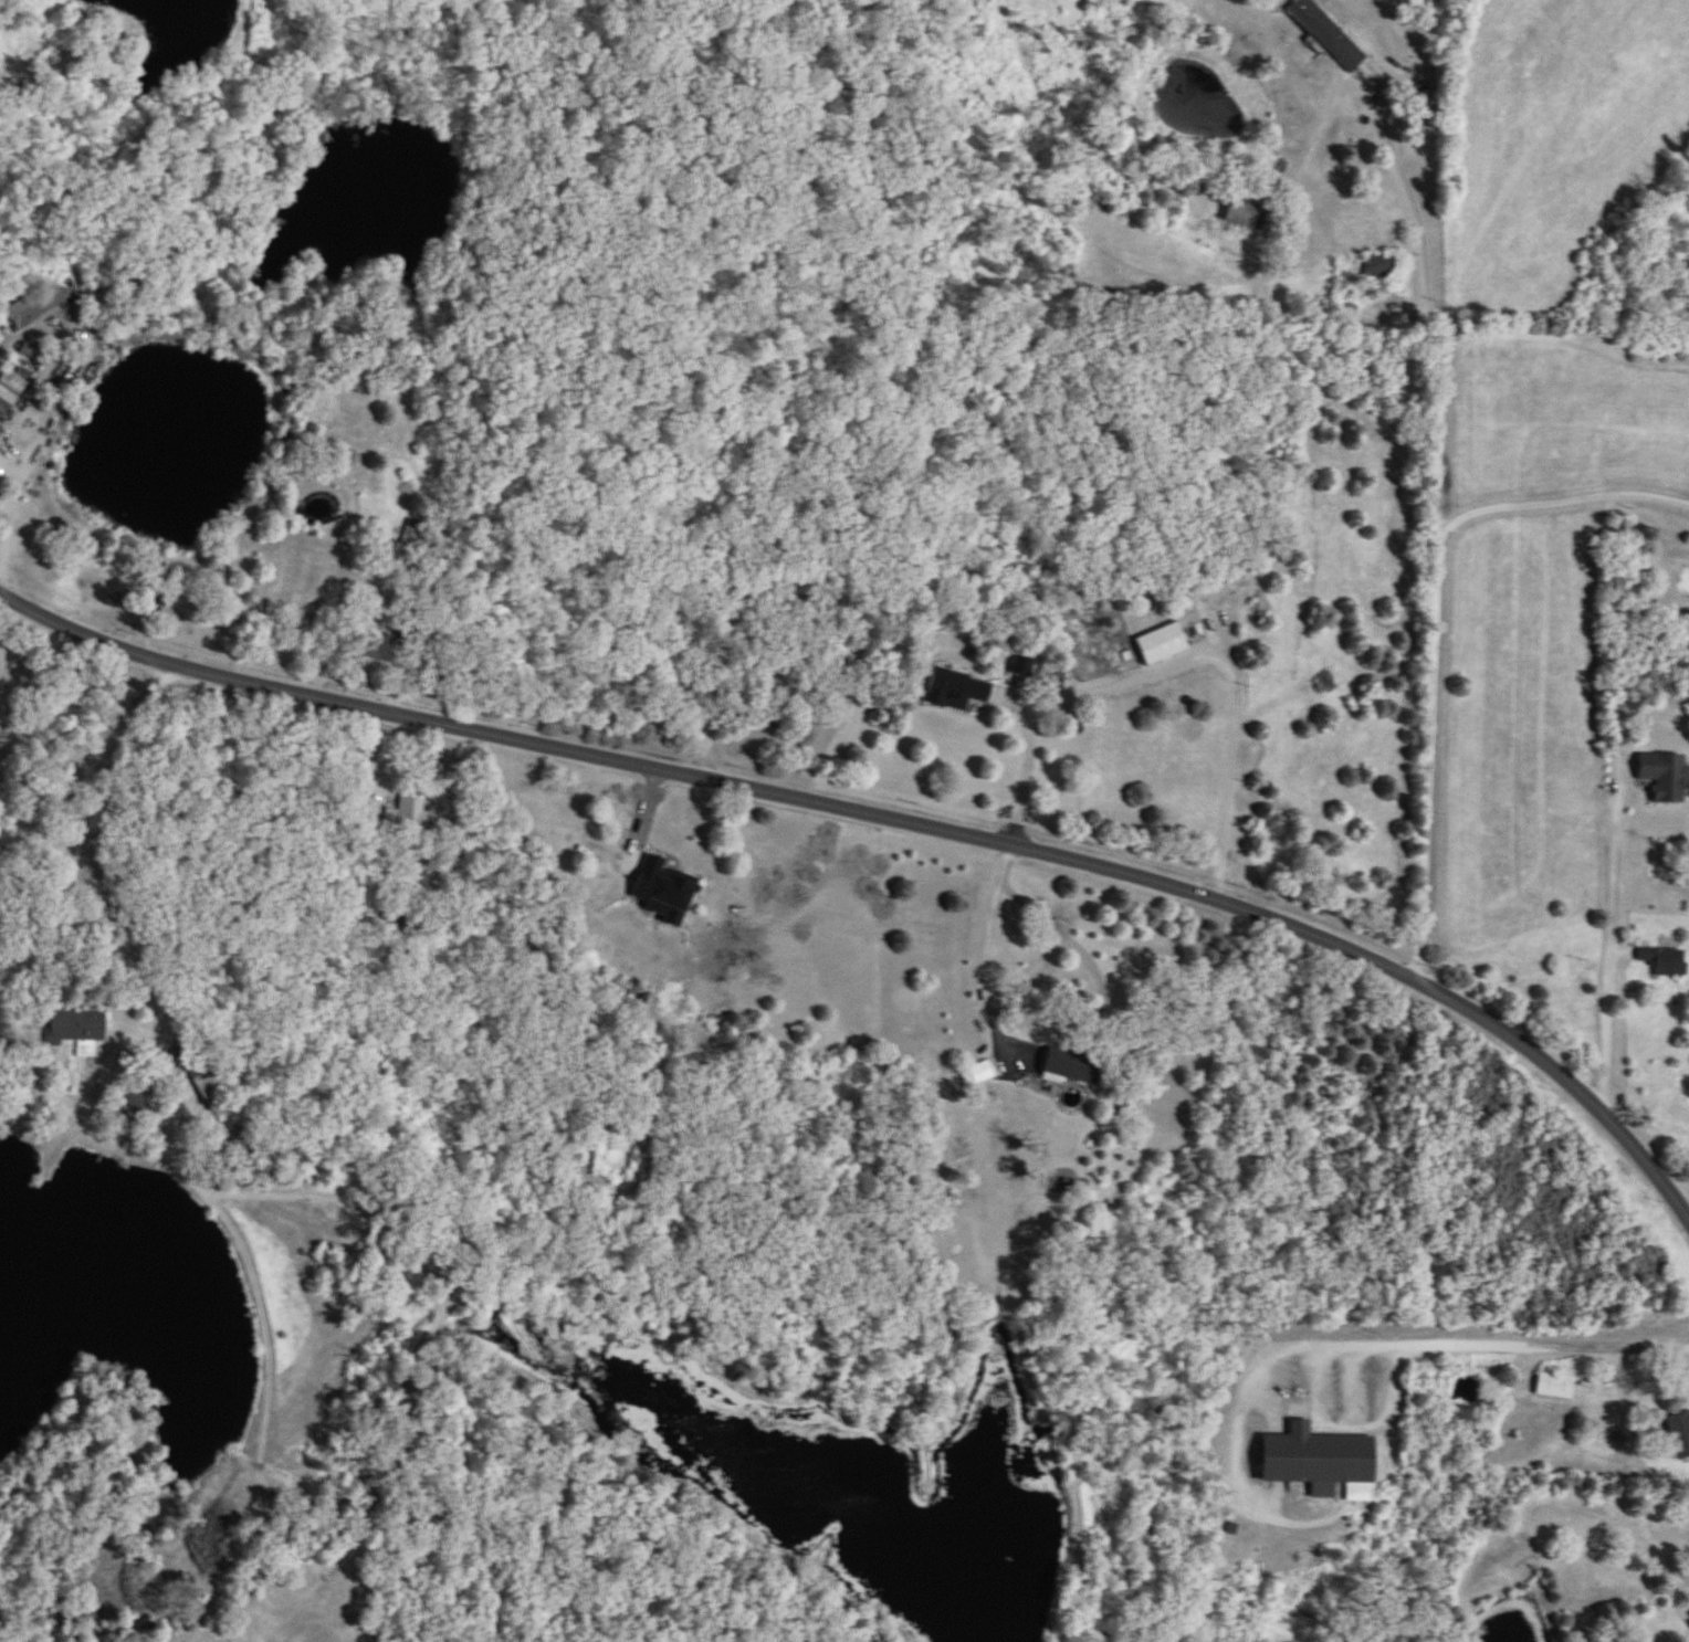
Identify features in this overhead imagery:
building: (1326, 35)
building: (1379, 266)
building: (35, 306)
building: (18, 378)
building: (1, 434)
road: (15, 504)
road: (1557, 508)
road: (1434, 533)
building: (413, 538)
road: (7, 638)
building: (1162, 644)
building: (382, 650)
road: (1221, 671)
building: (956, 691)
road: (93, 760)
road: (1018, 766)
building: (1664, 778)
road: (355, 800)
building: (415, 818)
road: (890, 821)
road: (7, 824)
road: (1006, 866)
building: (664, 892)
road: (1608, 905)
building: (401, 924)
building: (1665, 962)
road: (996, 1014)
road: (20, 1025)
building: (78, 1031)
building: (1072, 1067)
building: (218, 1097)
road: (1461, 1346)
building: (1555, 1386)
building: (1680, 1434)
building: (1316, 1459)

